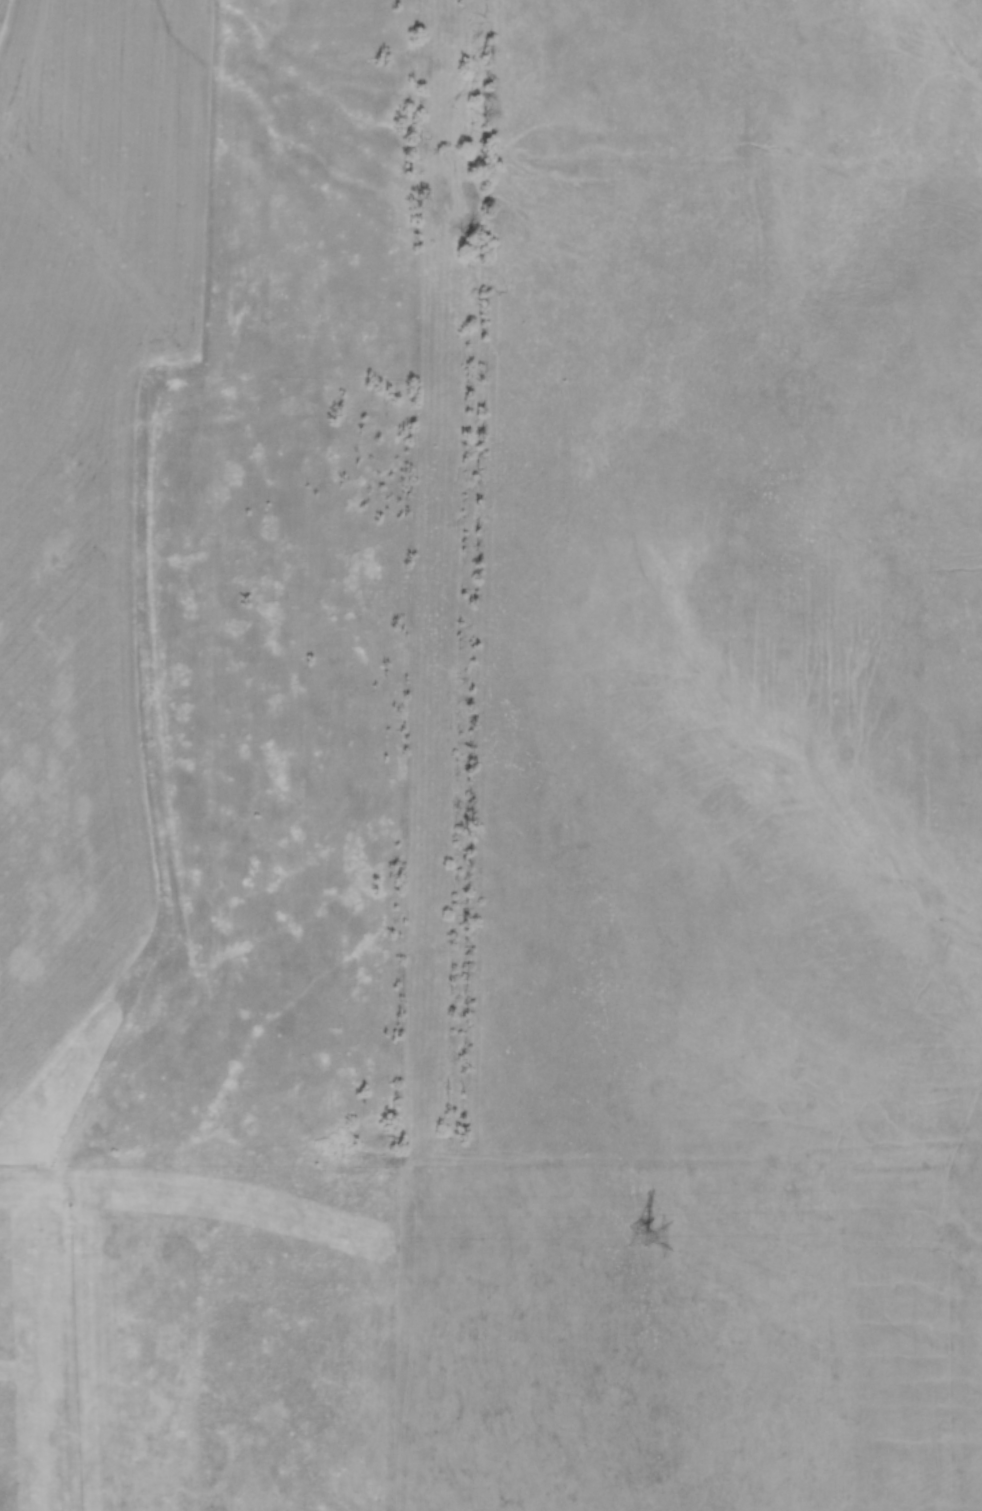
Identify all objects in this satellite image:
power tower: (636, 1236)

